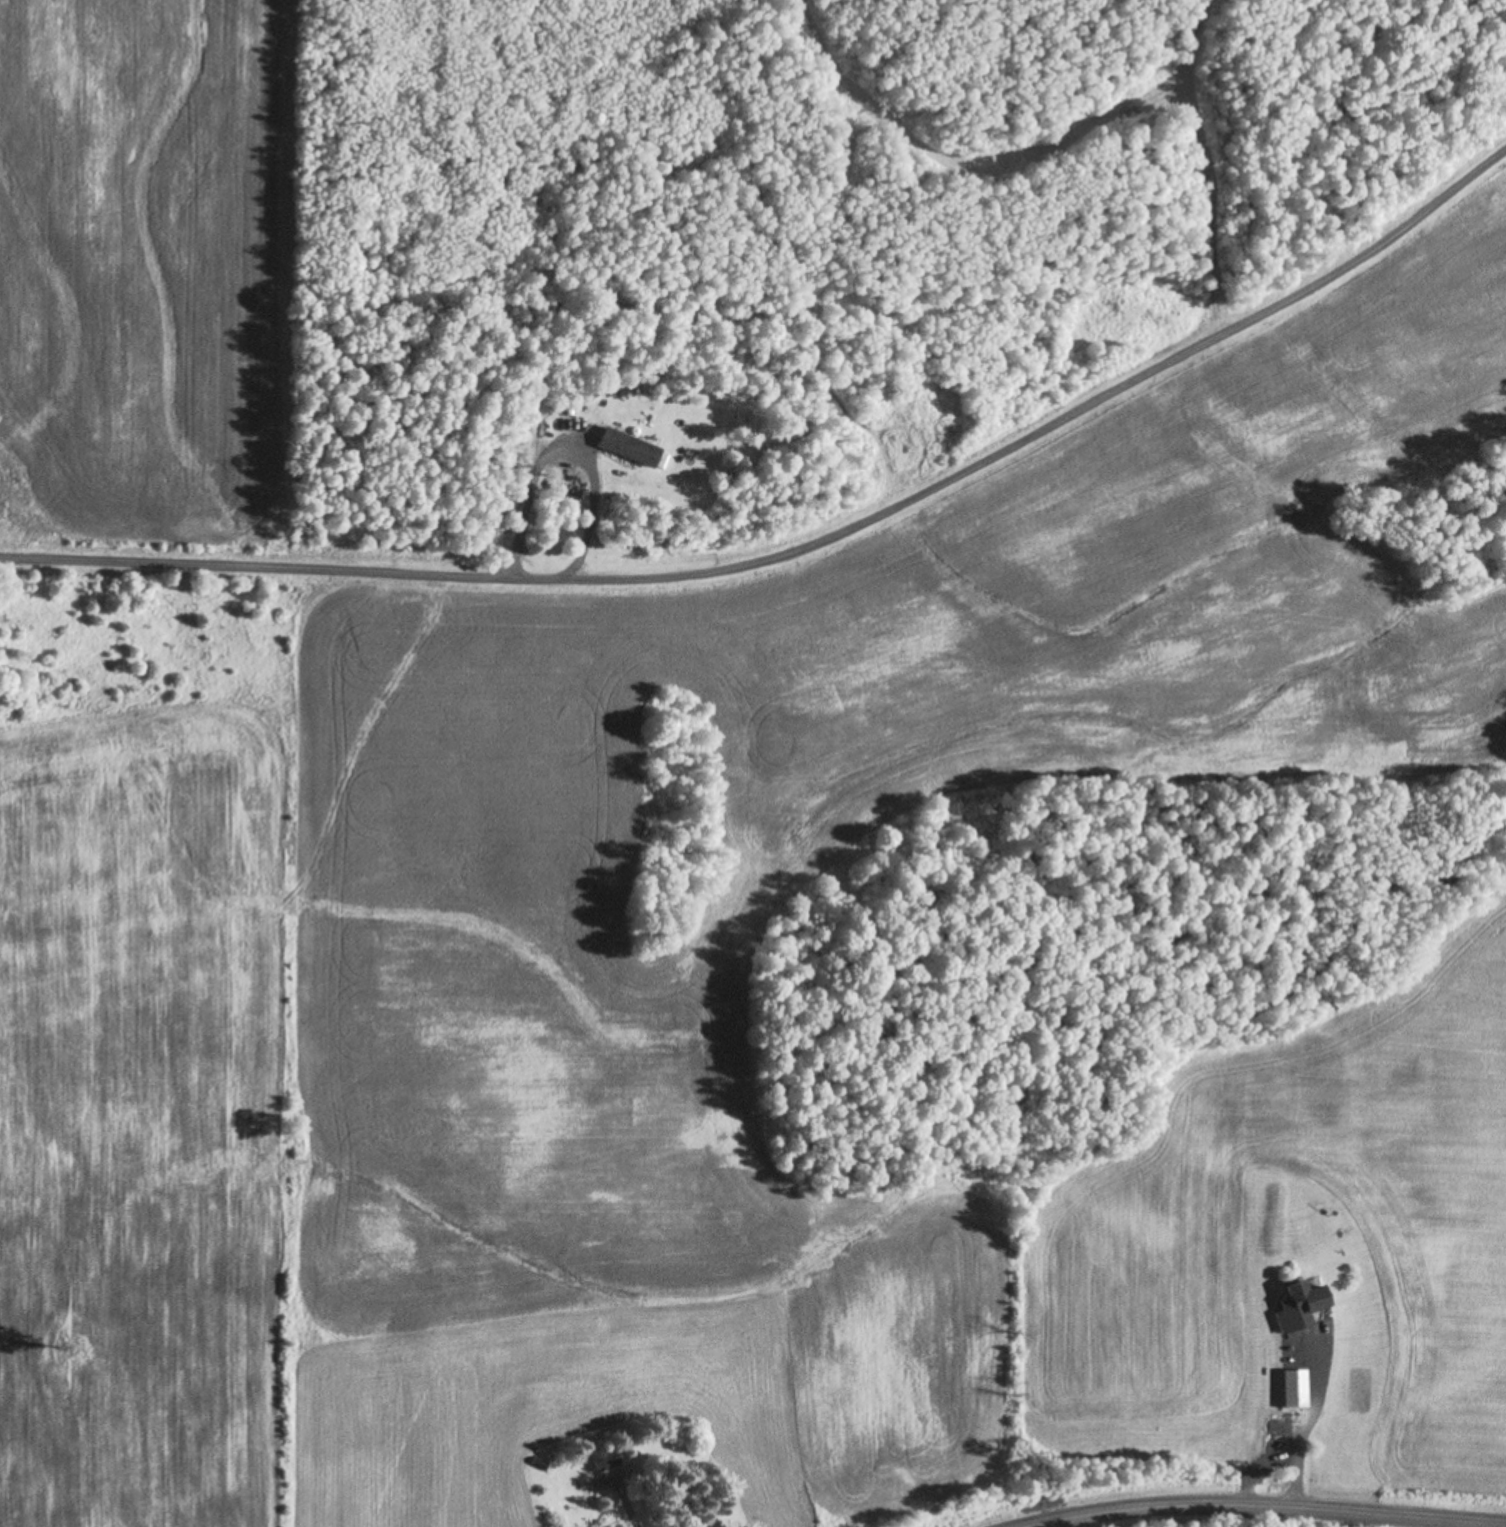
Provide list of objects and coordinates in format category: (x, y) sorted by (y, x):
building: (628, 445)
road: (566, 455)
road: (804, 545)
building: (1250, 1301)
building: (1300, 1303)
building: (1295, 1387)
road: (1302, 1432)
building: (603, 1456)
building: (539, 1462)
building: (558, 1497)
road: (1265, 1506)
road: (623, 1507)

